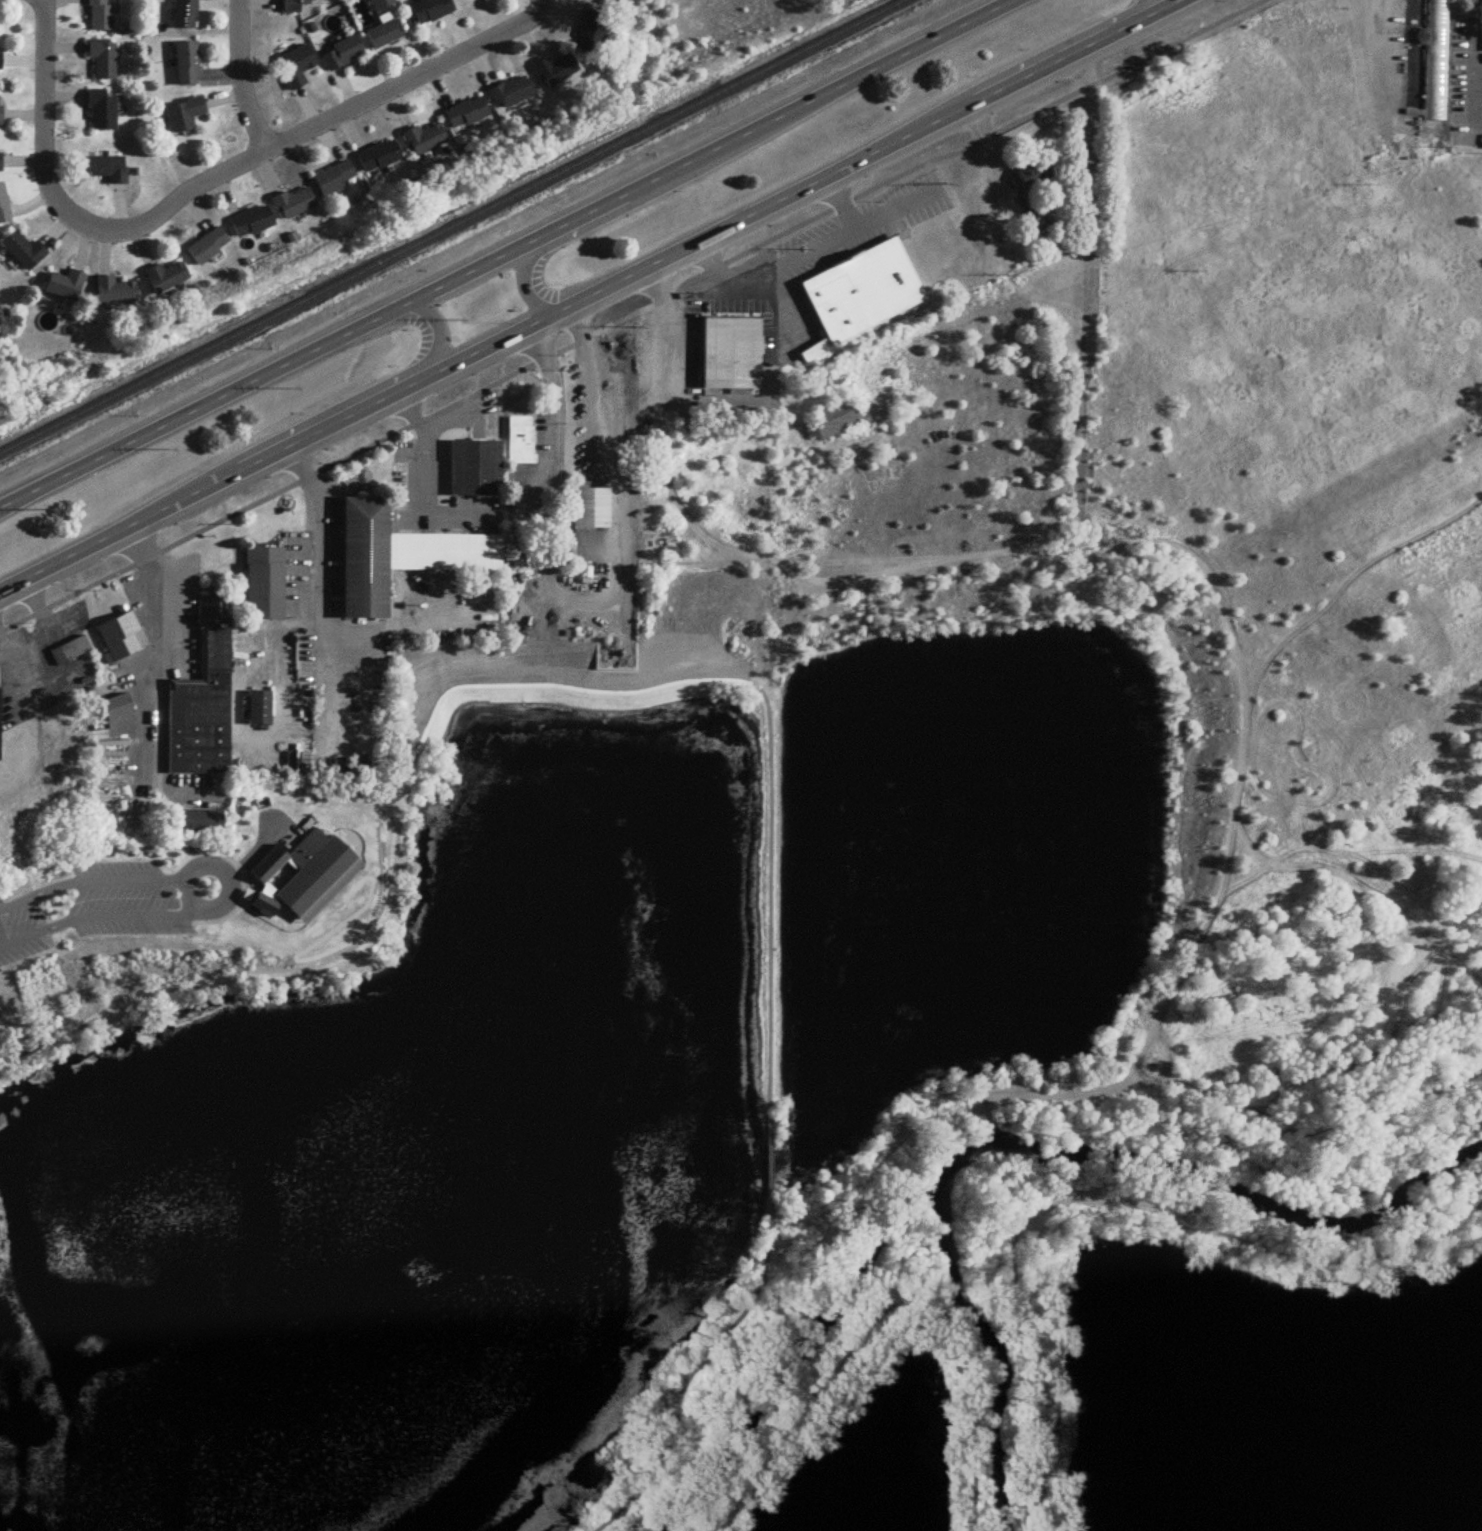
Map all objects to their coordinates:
building: (597, 0)
road: (540, 5)
building: (297, 6)
building: (1310, 10)
building: (433, 12)
building: (187, 15)
building: (101, 17)
road: (1474, 22)
road: (1383, 24)
road: (1119, 25)
building: (593, 34)
parking lot: (1383, 34)
building: (384, 37)
building: (343, 55)
building: (104, 60)
building: (1, 63)
building: (188, 66)
building: (299, 67)
building: (557, 72)
road: (240, 76)
road: (1474, 82)
parking lot: (1466, 83)
building: (511, 94)
building: (0, 107)
building: (103, 113)
road: (43, 114)
building: (467, 115)
building: (186, 116)
road: (305, 128)
building: (425, 141)
road: (1366, 144)
building: (381, 158)
building: (1, 164)
building: (109, 170)
building: (1034, 175)
building: (336, 179)
road: (841, 202)
building: (295, 205)
building: (4, 207)
building: (1032, 222)
building: (253, 224)
railway: (452, 225)
road: (812, 246)
building: (209, 248)
building: (25, 252)
road: (507, 254)
road: (712, 263)
road: (524, 270)
road: (1088, 272)
building: (167, 279)
parking lot: (798, 279)
building: (66, 287)
building: (115, 292)
building: (863, 292)
road: (590, 296)
road: (688, 316)
road: (962, 325)
road: (436, 353)
building: (731, 355)
road: (547, 365)
road: (585, 387)
road: (411, 407)
building: (835, 420)
building: (520, 438)
road: (552, 455)
parking lot: (542, 456)
building: (473, 464)
parking lot: (444, 470)
parking lot: (606, 472)
road: (311, 483)
road: (677, 496)
building: (584, 503)
road: (423, 505)
road: (617, 509)
road: (139, 546)
building: (393, 549)
road: (1186, 550)
road: (877, 558)
road: (790, 572)
building: (262, 577)
parking lot: (167, 612)
road: (318, 613)
parking lot: (325, 617)
road: (170, 625)
road: (48, 628)
building: (118, 634)
road: (1229, 636)
building: (70, 646)
road: (18, 677)
road: (729, 681)
building: (201, 700)
building: (257, 703)
building: (111, 704)
road: (146, 732)
road: (1244, 744)
building: (203, 822)
road: (1274, 865)
road: (238, 867)
building: (294, 871)
road: (230, 881)
parking lot: (118, 899)
road: (13, 904)
road: (316, 905)
road: (1400, 907)
road: (189, 910)
road: (335, 925)
road: (1288, 1034)
road: (1165, 1069)
road: (1097, 1082)
park: (429, 1147)
road: (1238, 1240)
river: (998, 1353)
road: (1035, 1376)
road: (964, 1388)
road: (807, 1398)

